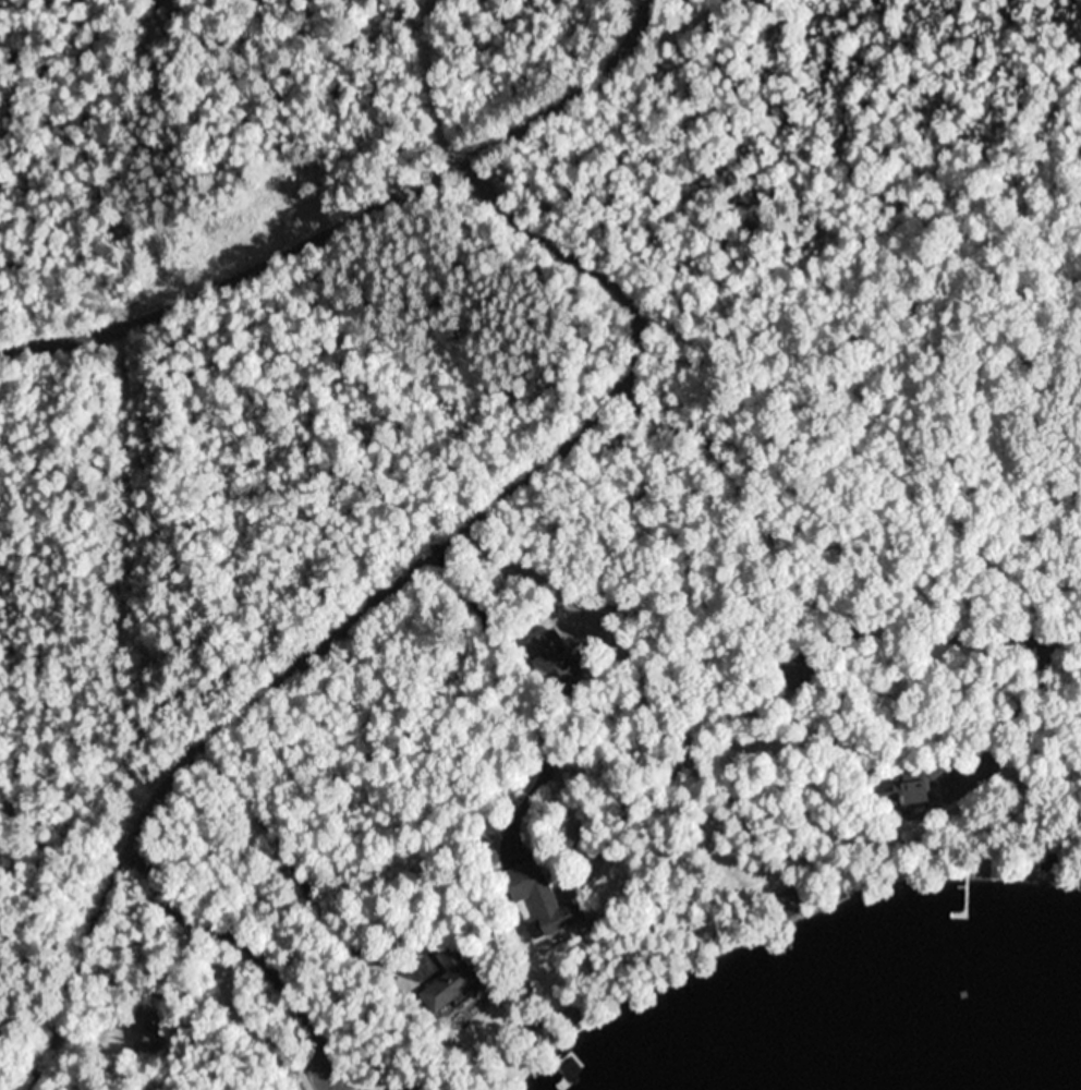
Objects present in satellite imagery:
road: (427, 88)
road: (359, 219)
road: (385, 592)
building: (1035, 647)
building: (555, 661)
building: (798, 673)
building: (918, 785)
building: (495, 826)
building: (126, 848)
building: (490, 858)
building: (1055, 861)
building: (544, 897)
building: (795, 898)
building: (456, 981)
building: (571, 1016)
building: (148, 1028)
building: (540, 1038)

